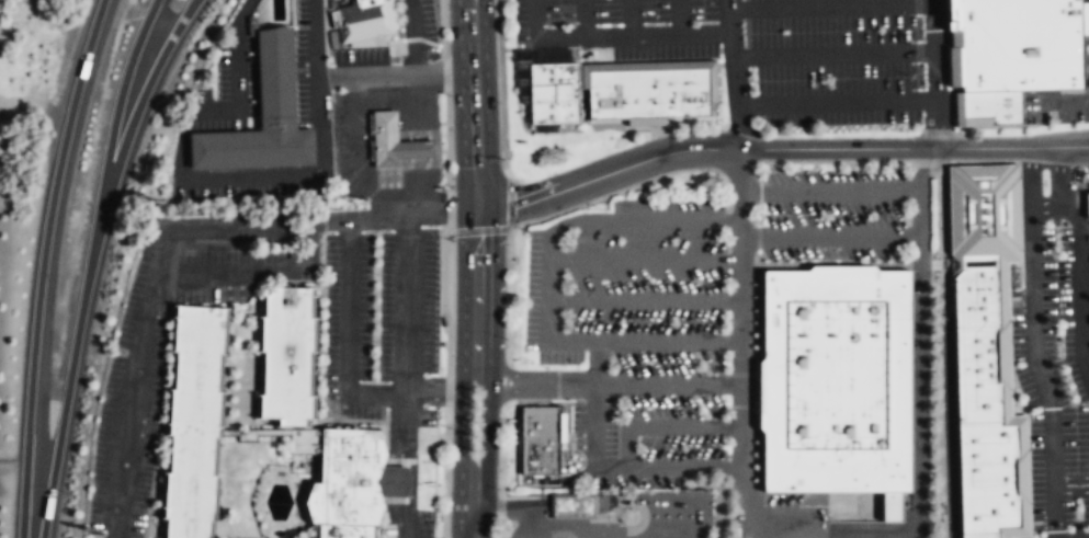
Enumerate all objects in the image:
road: (467, 2)
road: (469, 2)
road: (830, 4)
road: (469, 10)
road: (728, 15)
road: (583, 16)
road: (631, 16)
road: (679, 16)
road: (534, 18)
building: (363, 20)
building: (252, 25)
road: (632, 33)
road: (314, 38)
building: (1019, 44)
parking lot: (770, 53)
road: (832, 55)
road: (952, 65)
road: (653, 66)
parking lot: (310, 67)
road: (933, 73)
road: (394, 75)
parking lot: (227, 90)
road: (736, 91)
building: (555, 92)
building: (649, 93)
road: (502, 96)
road: (1057, 102)
road: (836, 104)
parking lot: (1054, 105)
building: (989, 108)
building: (262, 117)
road: (127, 134)
building: (385, 138)
road: (778, 148)
building: (416, 149)
gas station: (416, 149)
road: (1019, 159)
road: (842, 162)
road: (184, 178)
parking lot: (246, 183)
road: (476, 190)
road: (760, 192)
road: (831, 192)
road: (1074, 194)
building: (1087, 203)
road: (1044, 205)
building: (979, 213)
road: (760, 215)
parking lot: (844, 215)
road: (388, 216)
road: (515, 226)
road: (509, 229)
road: (311, 230)
road: (451, 231)
road: (758, 238)
road: (831, 238)
street lamp: (241, 245)
road: (900, 251)
road: (1079, 252)
road: (1085, 252)
road: (647, 261)
road: (41, 265)
road: (88, 265)
road: (449, 268)
road: (277, 282)
road: (549, 285)
road: (1085, 285)
building: (974, 296)
road: (510, 297)
road: (405, 300)
road: (647, 300)
road: (1032, 312)
road: (235, 329)
parking lot: (382, 329)
road: (1086, 332)
parking lot: (638, 337)
street lamp: (507, 339)
road: (745, 339)
road: (920, 339)
road: (946, 342)
road: (220, 353)
road: (1001, 360)
road: (598, 362)
parking lot: (136, 368)
building: (975, 374)
building: (833, 379)
road: (551, 380)
road: (320, 381)
road: (504, 384)
road: (680, 385)
road: (228, 391)
road: (133, 407)
road: (458, 421)
road: (487, 422)
road: (666, 425)
building: (541, 439)
building: (262, 440)
road: (252, 449)
road: (438, 451)
road: (628, 466)
road: (397, 467)
road: (501, 470)
road: (384, 472)
building: (986, 476)
road: (152, 478)
road: (1070, 478)
road: (379, 481)
street lamp: (498, 489)
road: (1071, 491)
road: (248, 501)
building: (574, 505)
road: (1054, 507)
road: (470, 508)
parking lot: (407, 519)
road: (407, 527)
road: (833, 530)
building: (978, 535)
road: (247, 537)
road: (261, 537)
road: (263, 537)

